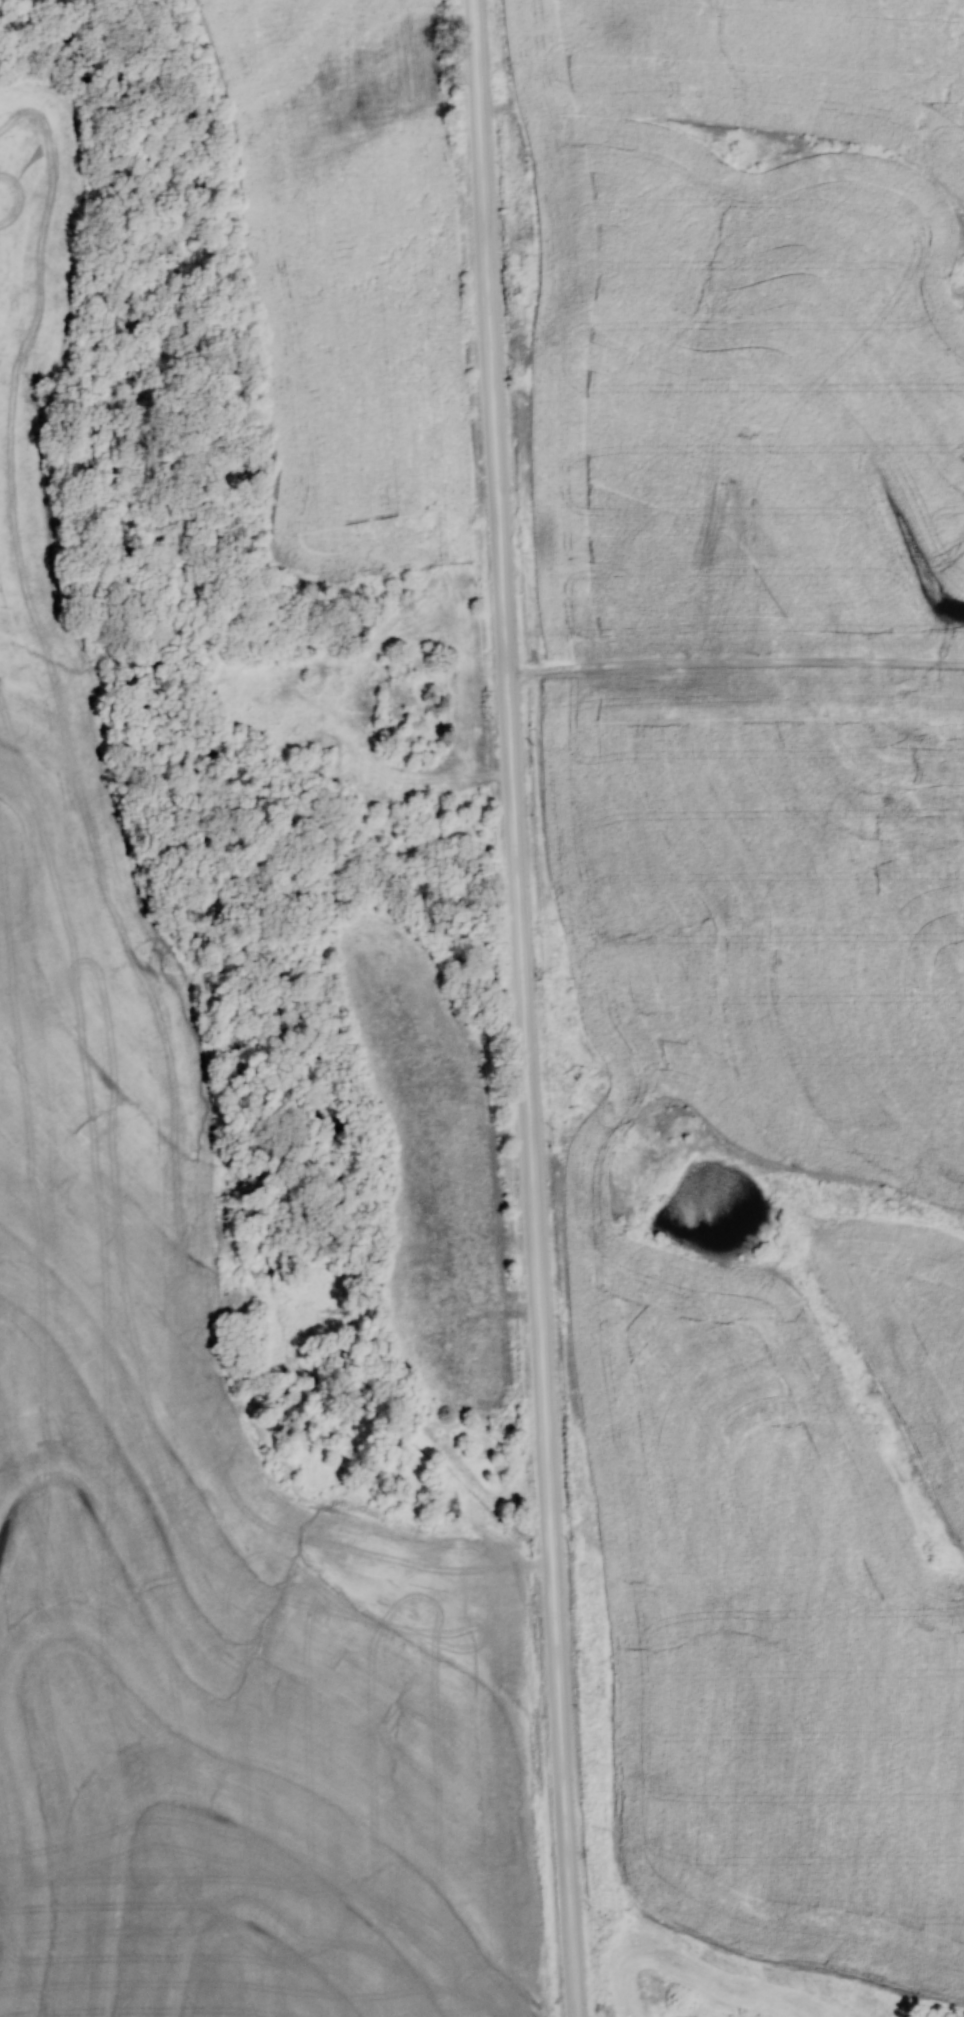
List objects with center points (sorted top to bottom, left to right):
road: (524, 1008)

